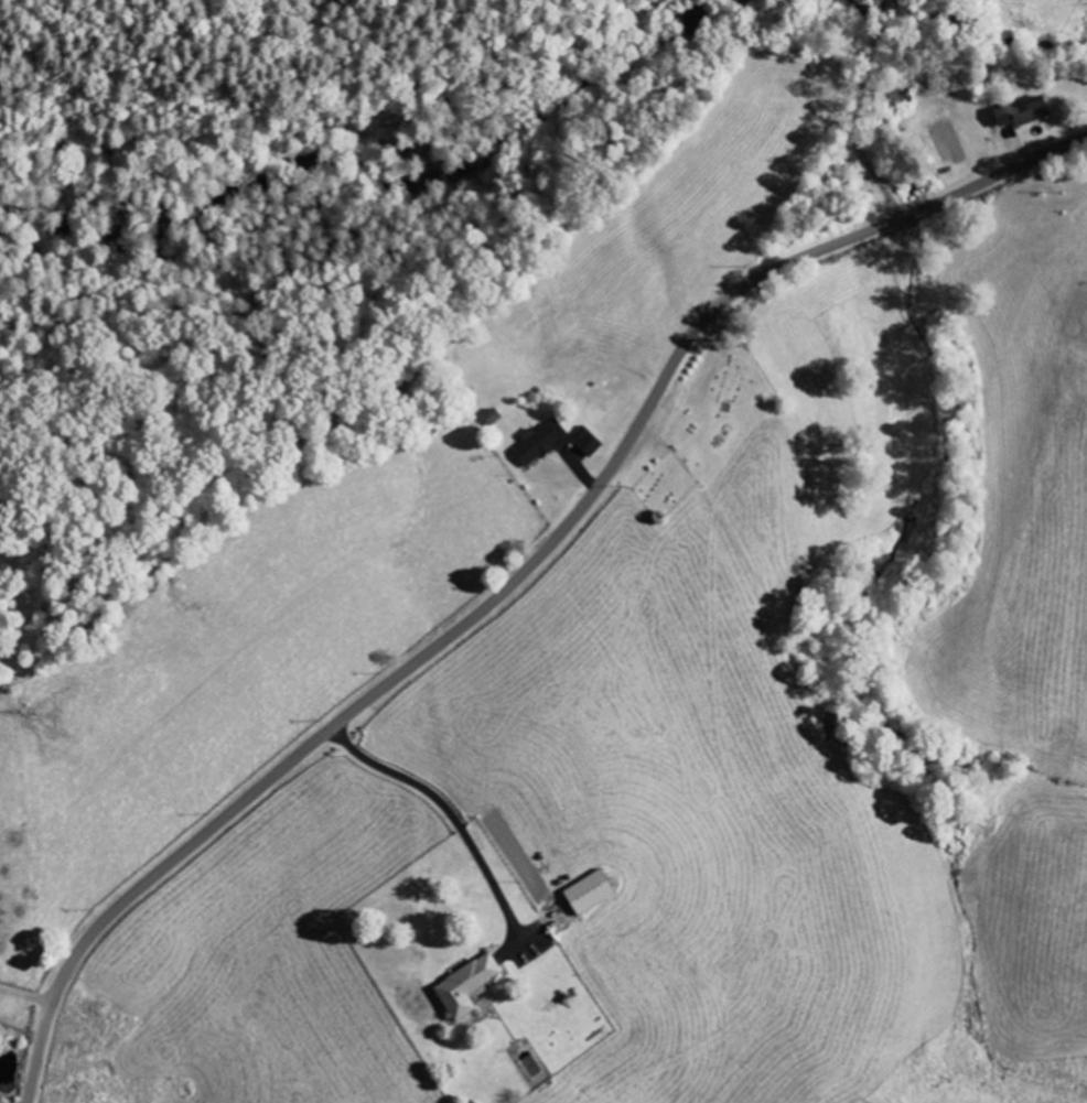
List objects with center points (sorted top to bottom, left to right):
building: (1023, 113)
building: (555, 443)
road: (519, 574)
road: (446, 809)
building: (591, 893)
building: (469, 987)

